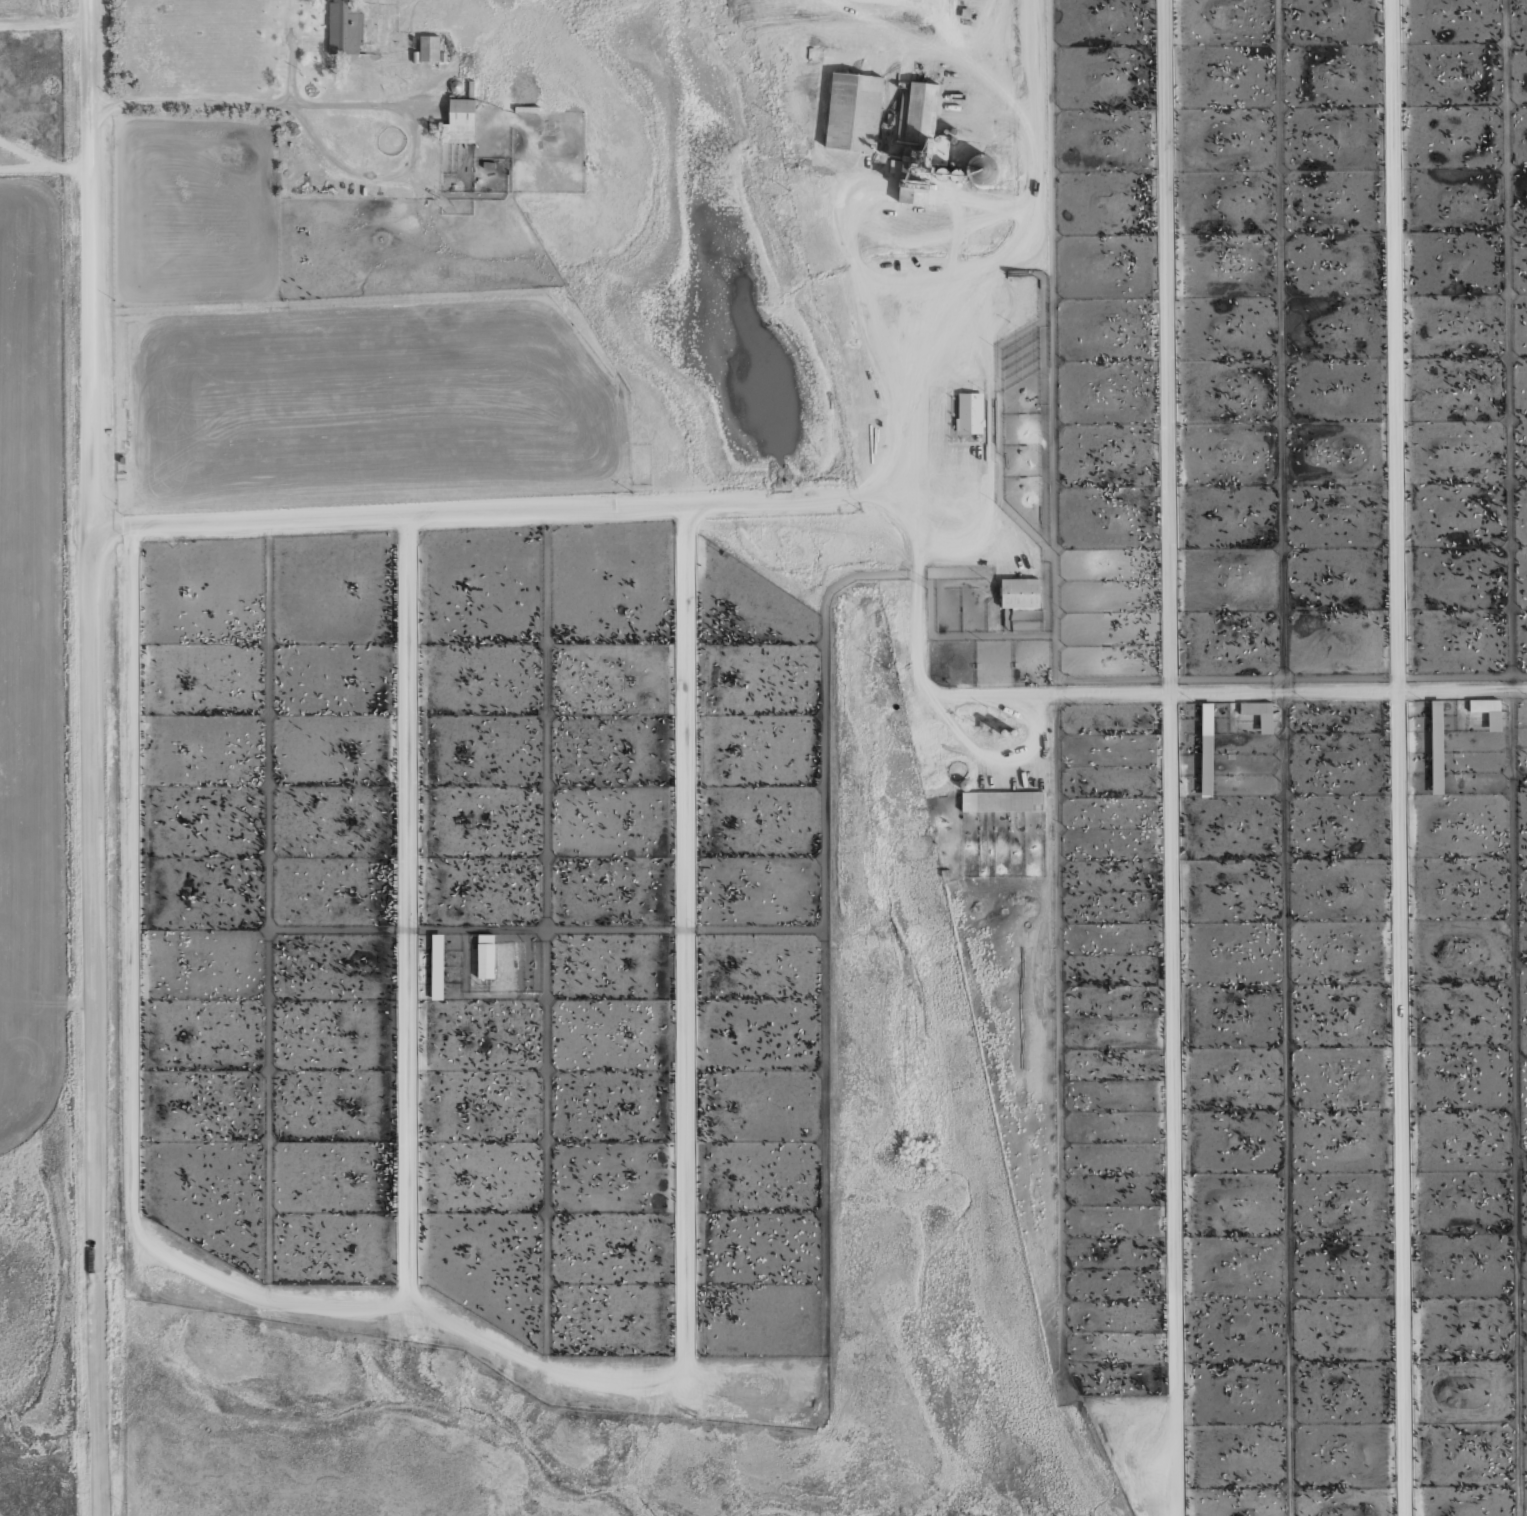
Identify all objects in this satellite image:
building: (344, 28)
building: (428, 49)
building: (851, 111)
building: (919, 113)
building: (458, 122)
storage tank: (978, 169)
building: (979, 169)
building: (969, 413)
road: (759, 502)
building: (1018, 593)
crop: (1219, 690)
road: (1119, 695)
building: (1487, 711)
building: (1258, 714)
building: (1428, 714)
building: (1200, 719)
road: (98, 757)
road: (1170, 757)
road: (1391, 757)
building: (1000, 804)

